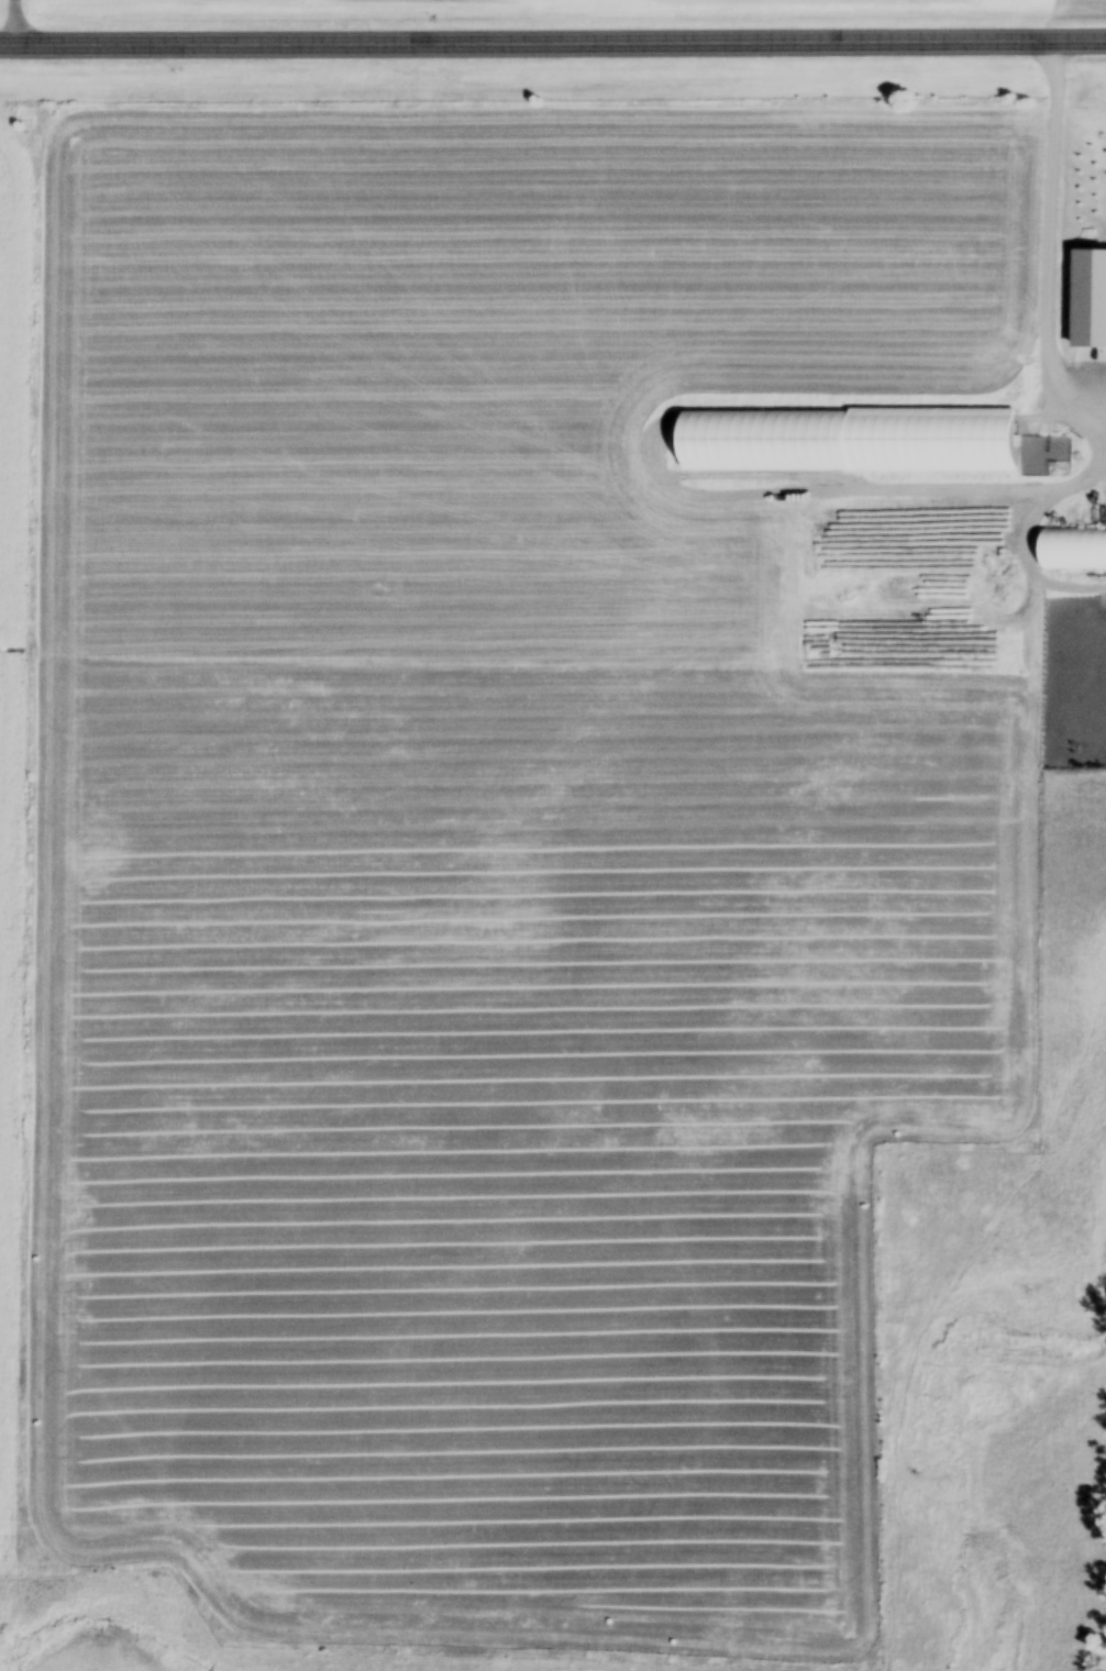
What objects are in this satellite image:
road: (552, 48)
road: (1046, 243)
building: (880, 444)
building: (1072, 553)

